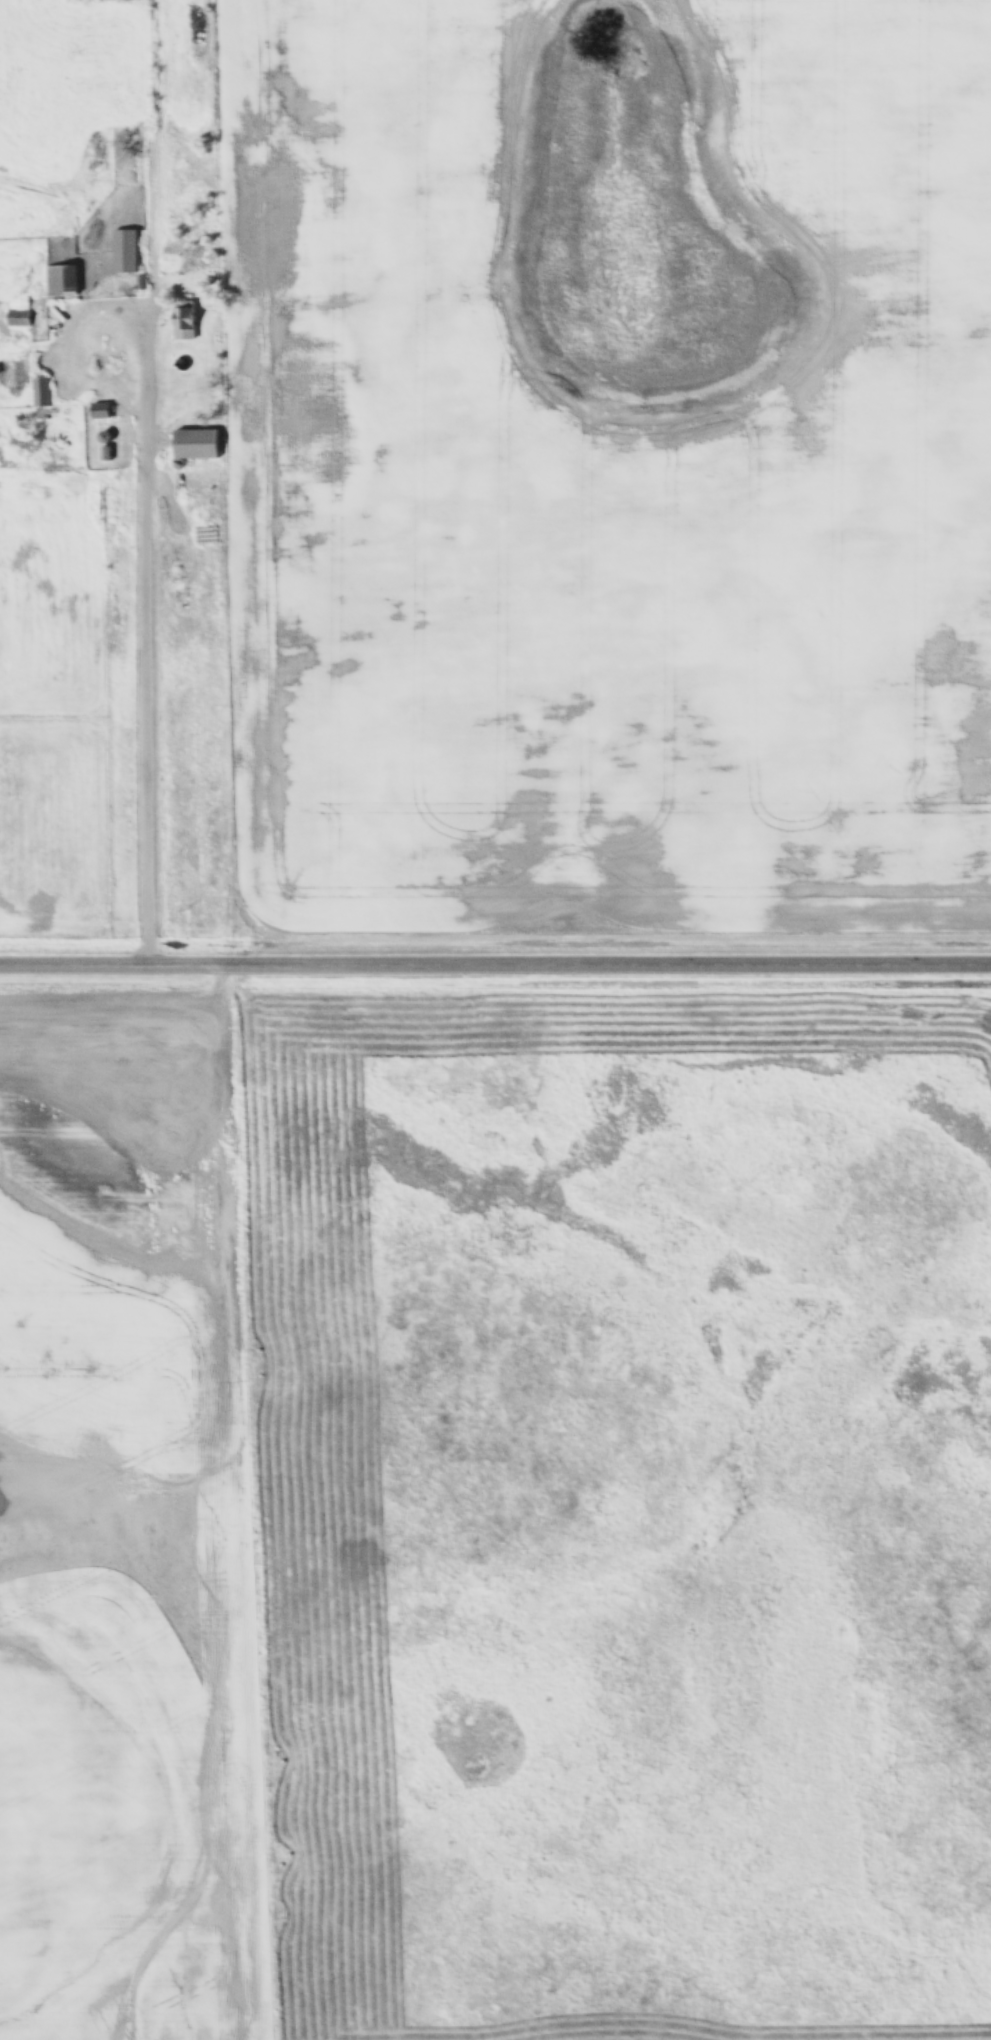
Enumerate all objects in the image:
building: (59, 280)
building: (18, 319)
building: (186, 322)
building: (40, 392)
building: (101, 411)
building: (197, 444)
road: (148, 549)
road: (495, 972)

